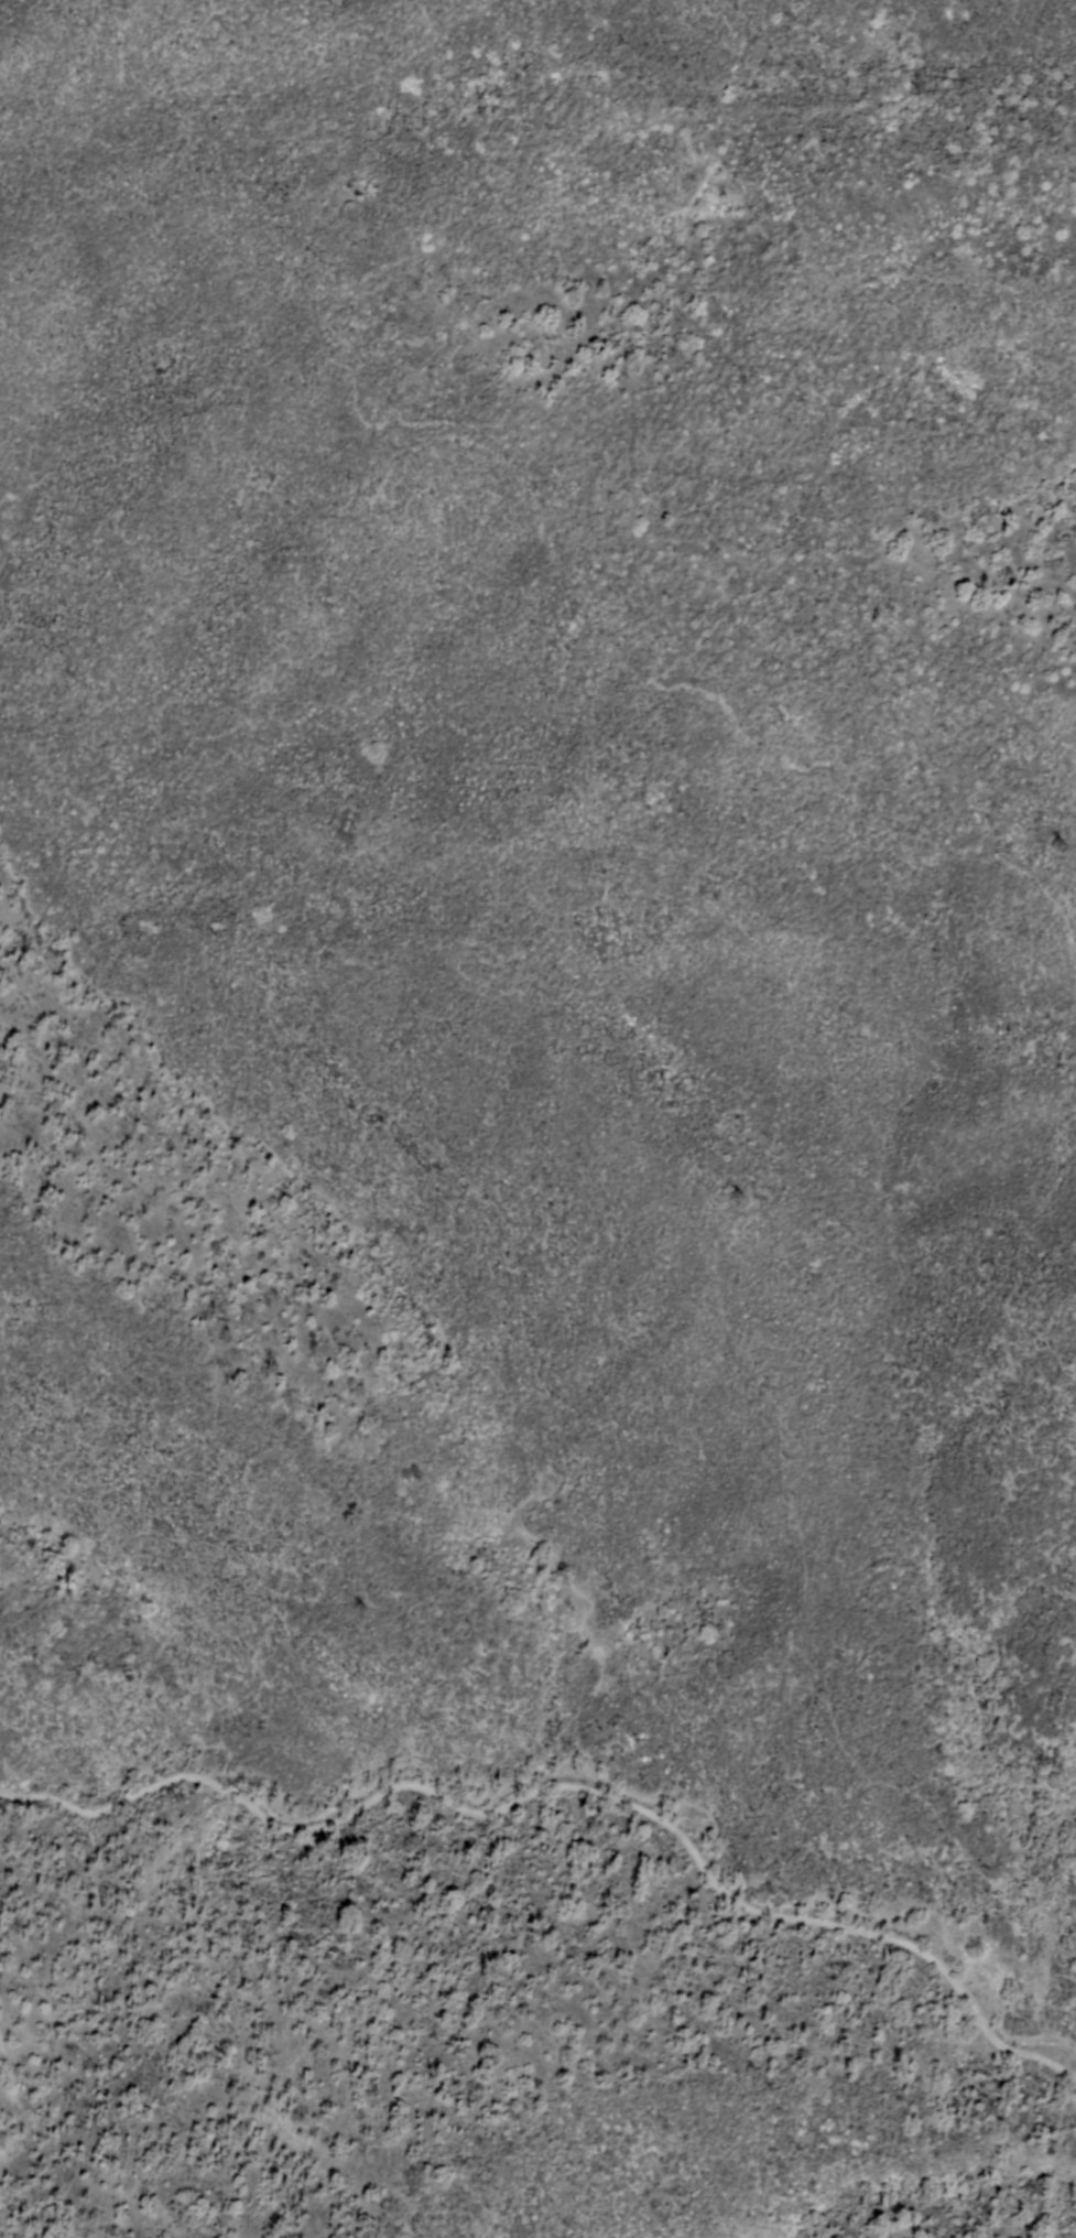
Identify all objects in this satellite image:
road: (578, 1790)

